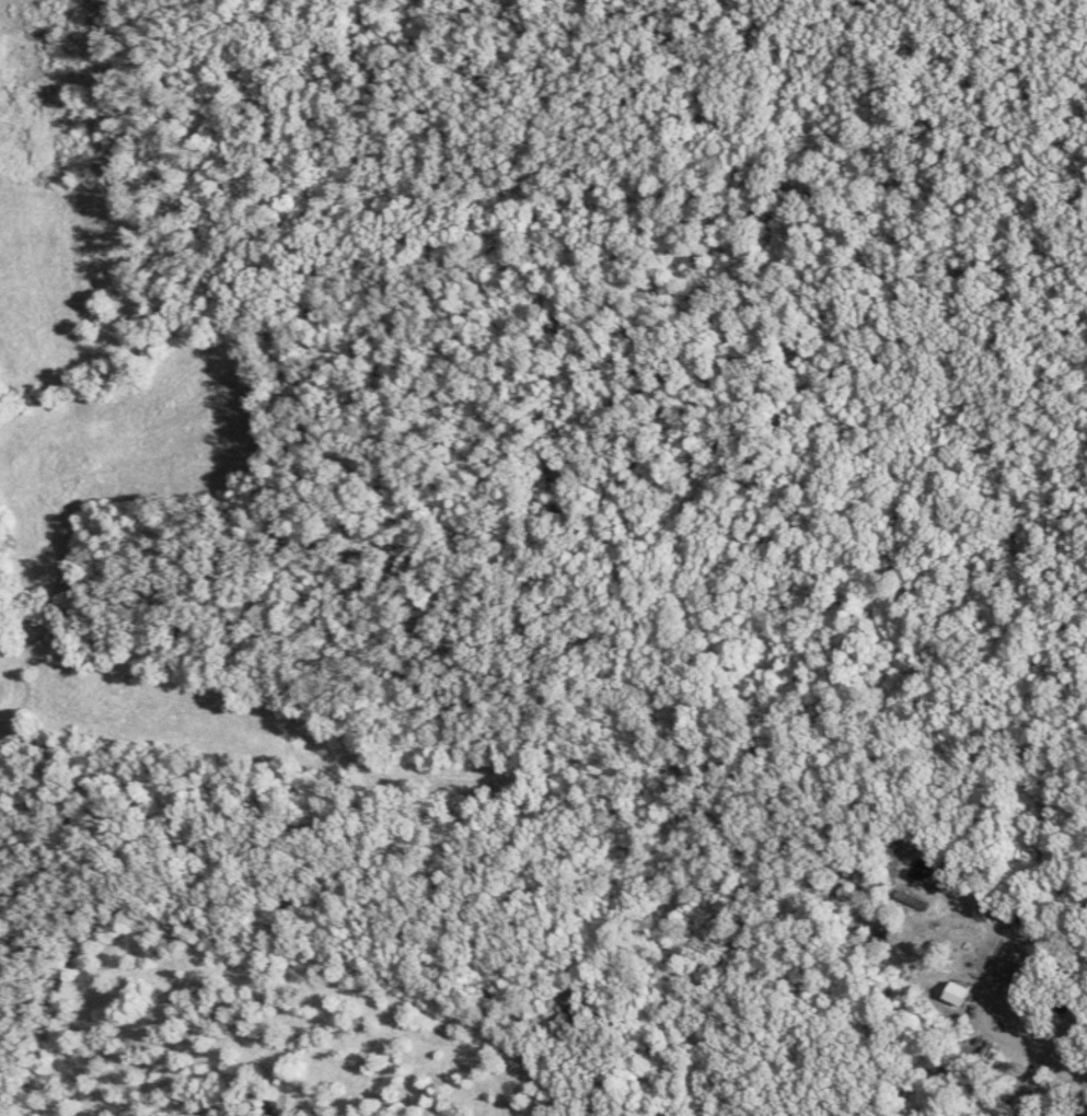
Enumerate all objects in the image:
building: (1001, 967)
road: (1041, 1057)

